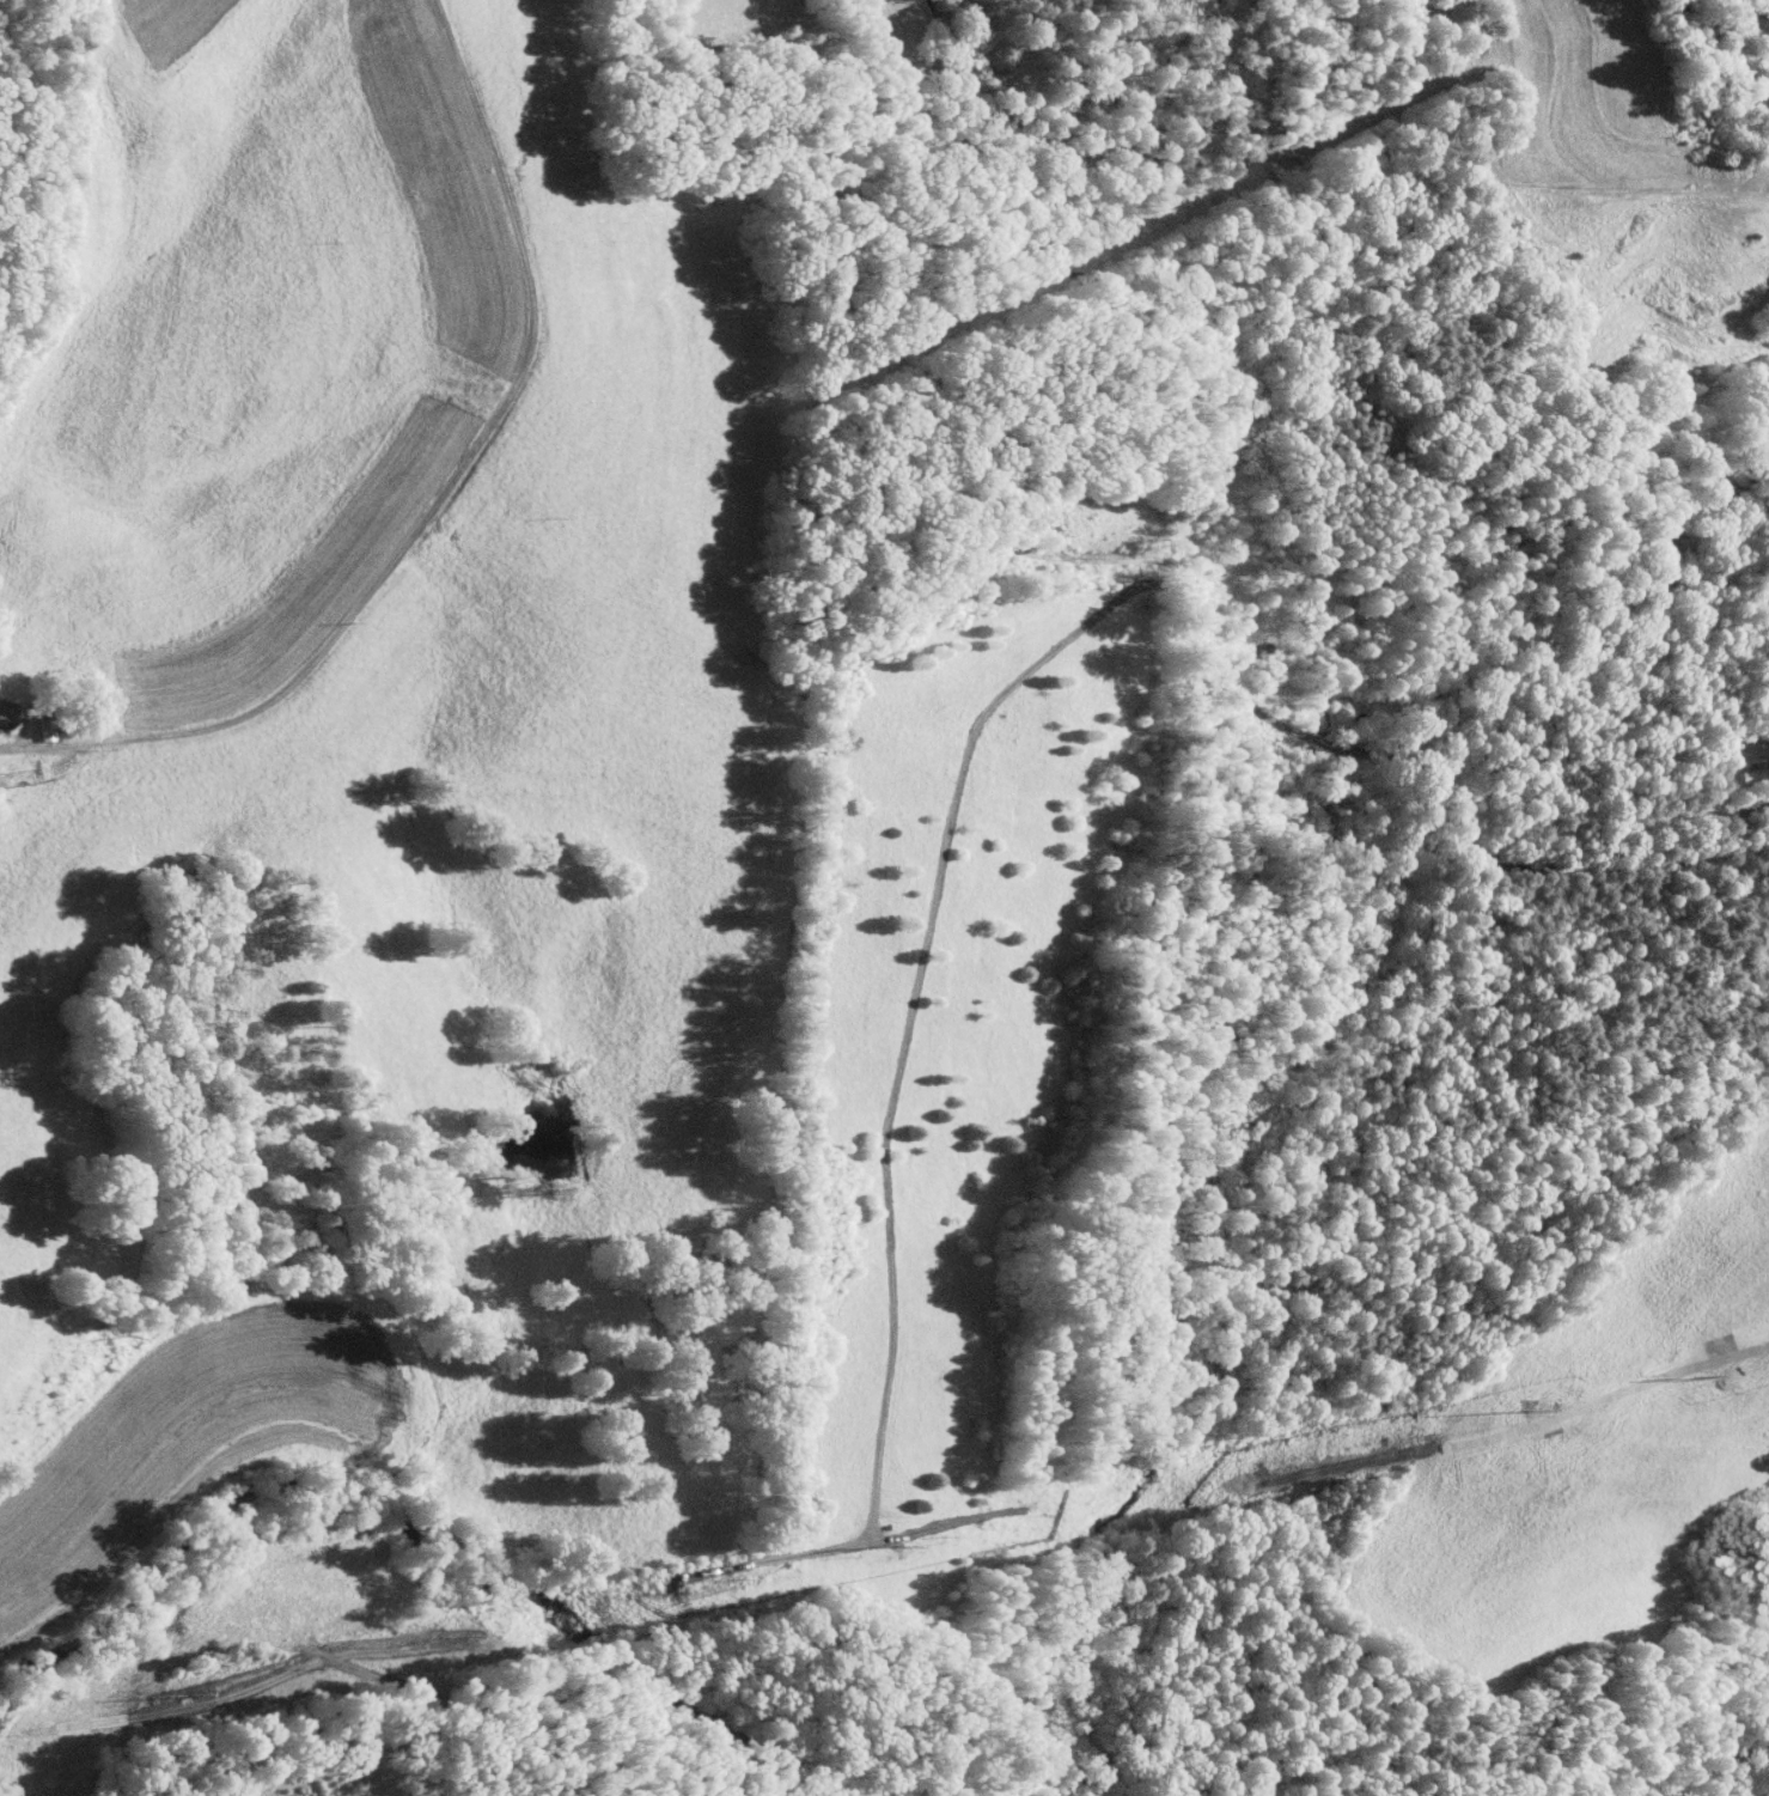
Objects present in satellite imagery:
building: (1, 704)
building: (33, 720)
road: (1329, 743)
building: (1749, 768)

